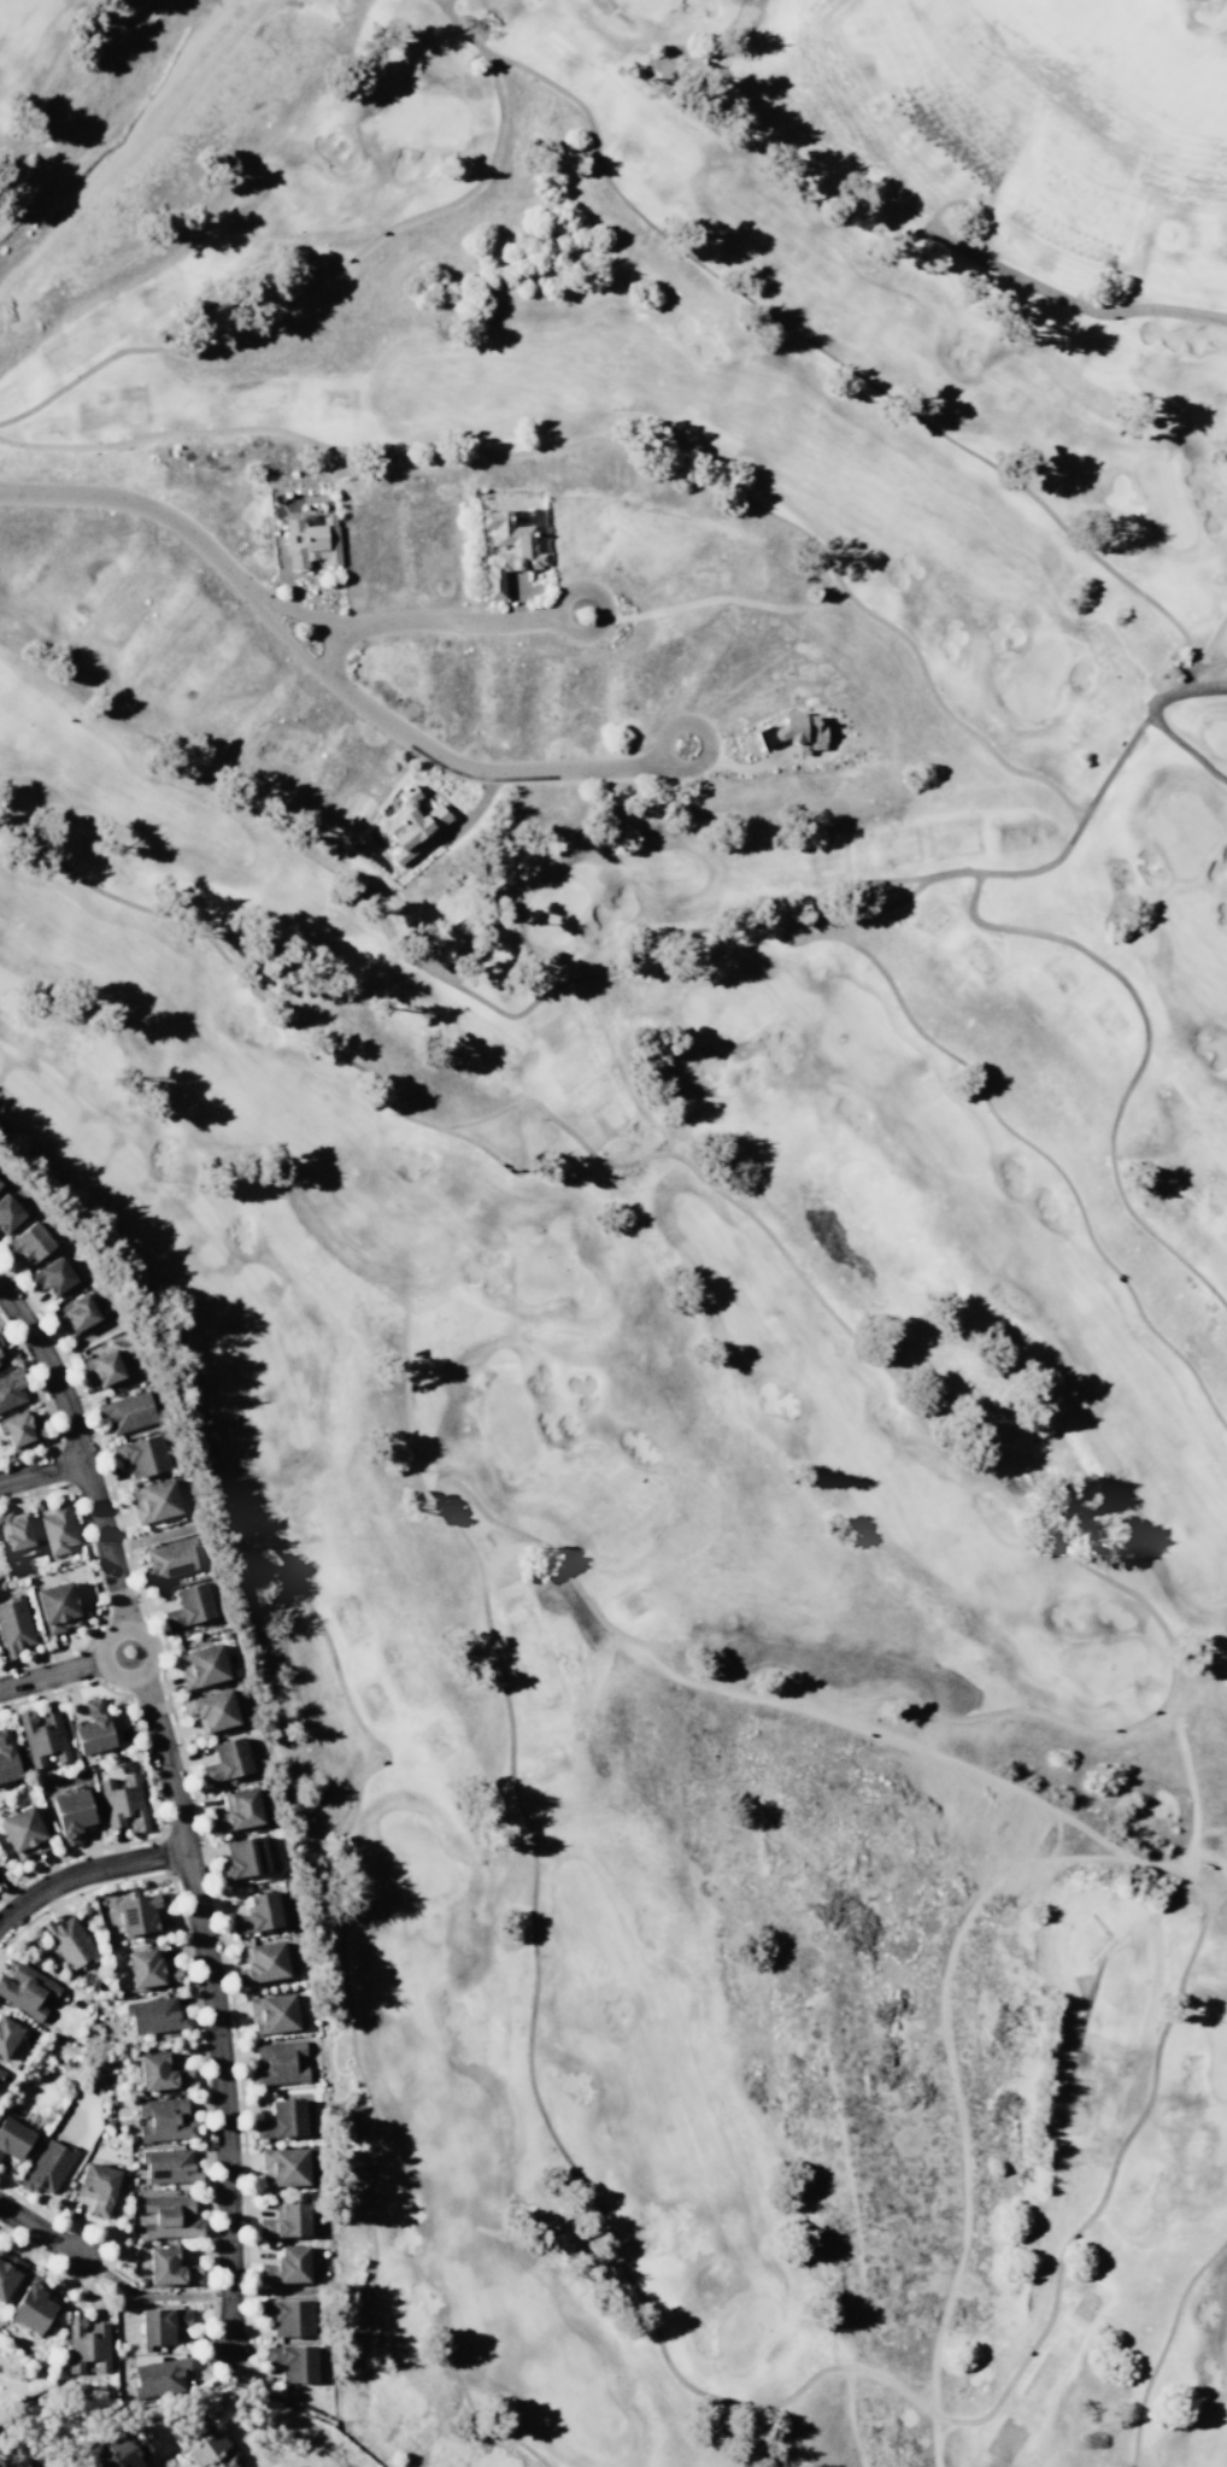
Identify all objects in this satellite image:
road: (444, 2)
road: (471, 40)
road: (498, 65)
road: (39, 82)
park: (423, 117)
road: (293, 298)
road: (1072, 303)
road: (835, 361)
park: (1181, 377)
road: (616, 445)
park: (617, 480)
park: (1164, 499)
building: (311, 541)
building: (507, 549)
road: (726, 597)
road: (603, 608)
road: (392, 620)
road: (331, 650)
road: (1203, 654)
road: (1209, 664)
road: (315, 667)
park: (1031, 675)
park: (1202, 727)
building: (800, 731)
road: (1186, 748)
road: (706, 749)
building: (410, 822)
park: (552, 909)
road: (867, 916)
road: (600, 974)
park: (726, 1007)
road: (930, 1041)
road: (1140, 1060)
building: (0, 1182)
building: (10, 1212)
building: (28, 1242)
park: (540, 1266)
road: (12, 1274)
building: (53, 1276)
road: (1125, 1285)
building: (76, 1313)
building: (1, 1356)
building: (0, 1360)
building: (104, 1369)
building: (10, 1388)
building: (127, 1411)
park: (507, 1424)
building: (19, 1428)
road: (78, 1449)
building: (140, 1454)
road: (41, 1471)
building: (153, 1500)
building: (57, 1528)
building: (16, 1531)
building: (169, 1558)
road: (95, 1576)
building: (157, 1583)
building: (188, 1604)
building: (57, 1606)
building: (13, 1627)
road: (99, 1652)
park: (716, 1659)
park: (1099, 1663)
building: (201, 1665)
road: (759, 1669)
road: (49, 1674)
building: (211, 1710)
building: (90, 1728)
building: (42, 1739)
building: (6, 1757)
building: (225, 1759)
road: (164, 1762)
road: (360, 1777)
building: (122, 1801)
building: (236, 1810)
building: (71, 1813)
building: (23, 1832)
park: (413, 1852)
building: (243, 1857)
road: (86, 1870)
building: (137, 1911)
building: (257, 1912)
building: (69, 1941)
building: (262, 1962)
building: (148, 1968)
road: (1180, 1975)
building: (27, 1988)
building: (271, 2011)
building: (154, 2015)
building: (7, 2034)
road: (946, 2049)
park: (1219, 2053)
building: (276, 2062)
building: (159, 2070)
building: (0, 2072)
road: (222, 2097)
building: (281, 2119)
building: (163, 2120)
building: (12, 2137)
building: (168, 2164)
building: (282, 2164)
building: (46, 2166)
building: (96, 2186)
building: (169, 2216)
building: (284, 2217)
road: (39, 2229)
building: (286, 2264)
building: (169, 2266)
building: (7, 2272)
road: (147, 2295)
building: (30, 2304)
building: (287, 2315)
building: (159, 2324)
park: (744, 2333)
building: (86, 2343)
road: (1162, 2345)
building: (292, 2361)
building: (159, 2375)
building: (204, 2444)
building: (124, 2449)
building: (12, 2462)

